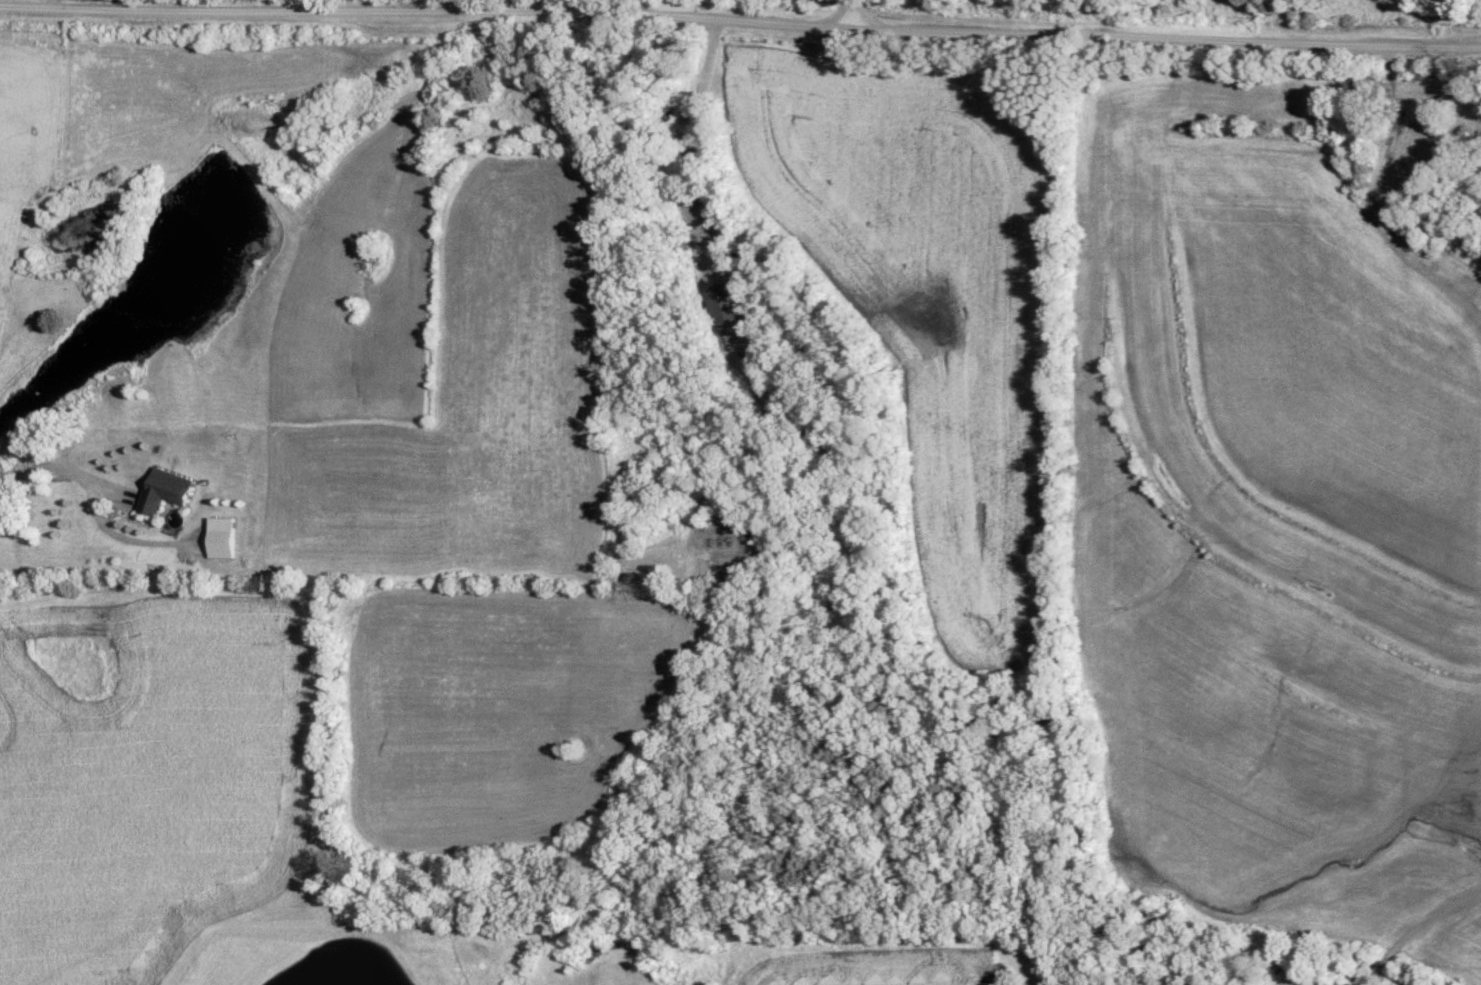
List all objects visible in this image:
road: (836, 14)
road: (865, 14)
road: (740, 22)
road: (734, 255)
building: (726, 306)
building: (167, 489)
building: (225, 537)

